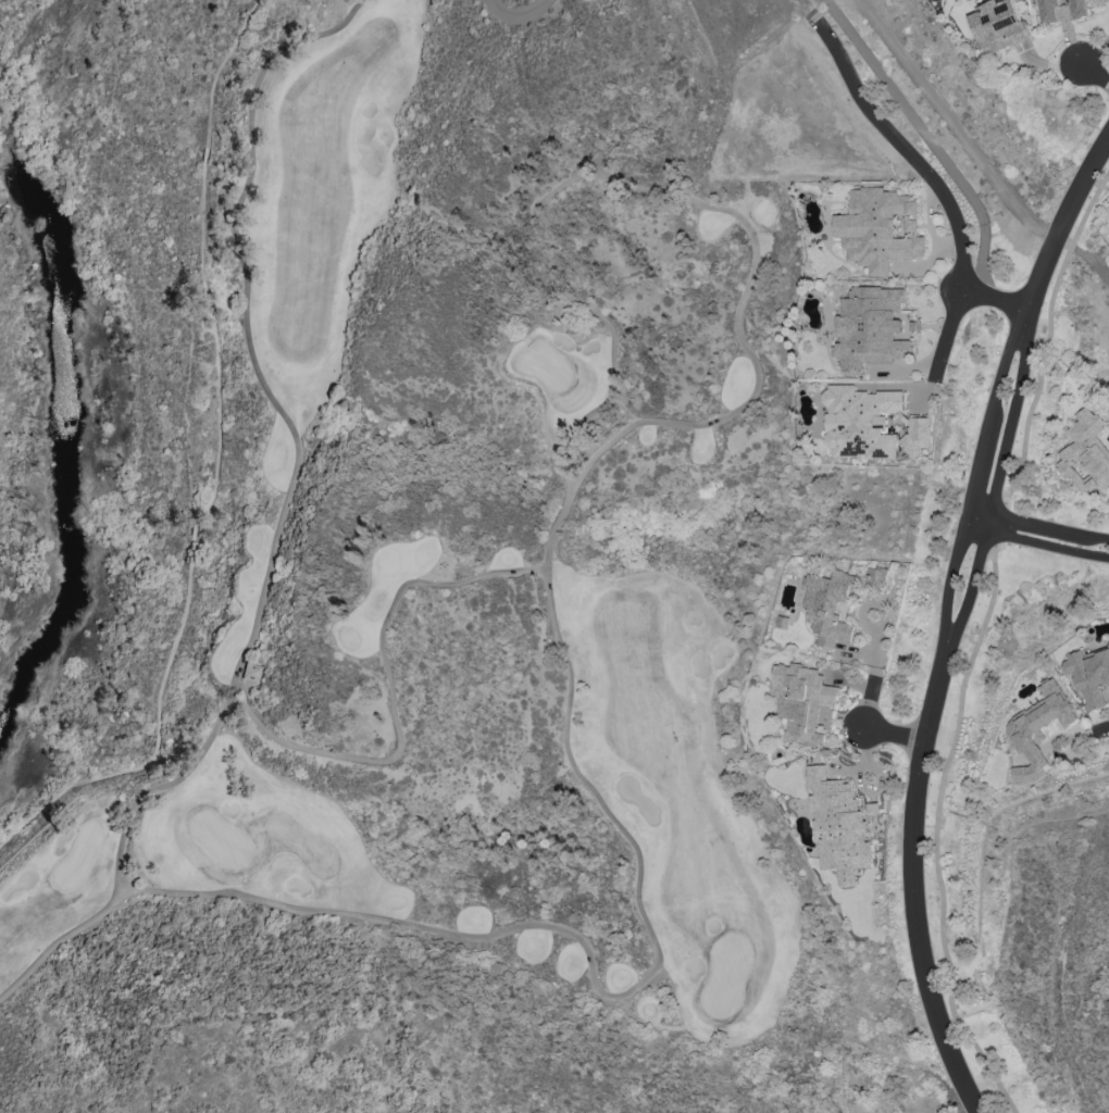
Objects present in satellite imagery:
building: (1080, 9)
building: (1048, 10)
road: (516, 13)
building: (998, 26)
road: (1094, 71)
road: (952, 123)
road: (933, 179)
building: (912, 225)
road: (1058, 227)
building: (876, 229)
road: (1082, 257)
road: (993, 296)
building: (871, 327)
river: (55, 360)
building: (870, 424)
building: (1086, 453)
road: (216, 470)
road: (977, 479)
road: (999, 487)
road: (982, 517)
park: (272, 524)
road: (1050, 527)
road: (1049, 540)
building: (876, 578)
building: (828, 606)
building: (251, 672)
road: (874, 672)
building: (1088, 675)
building: (801, 701)
road: (1108, 725)
road: (898, 731)
building: (1037, 731)
building: (837, 826)
road: (910, 881)

